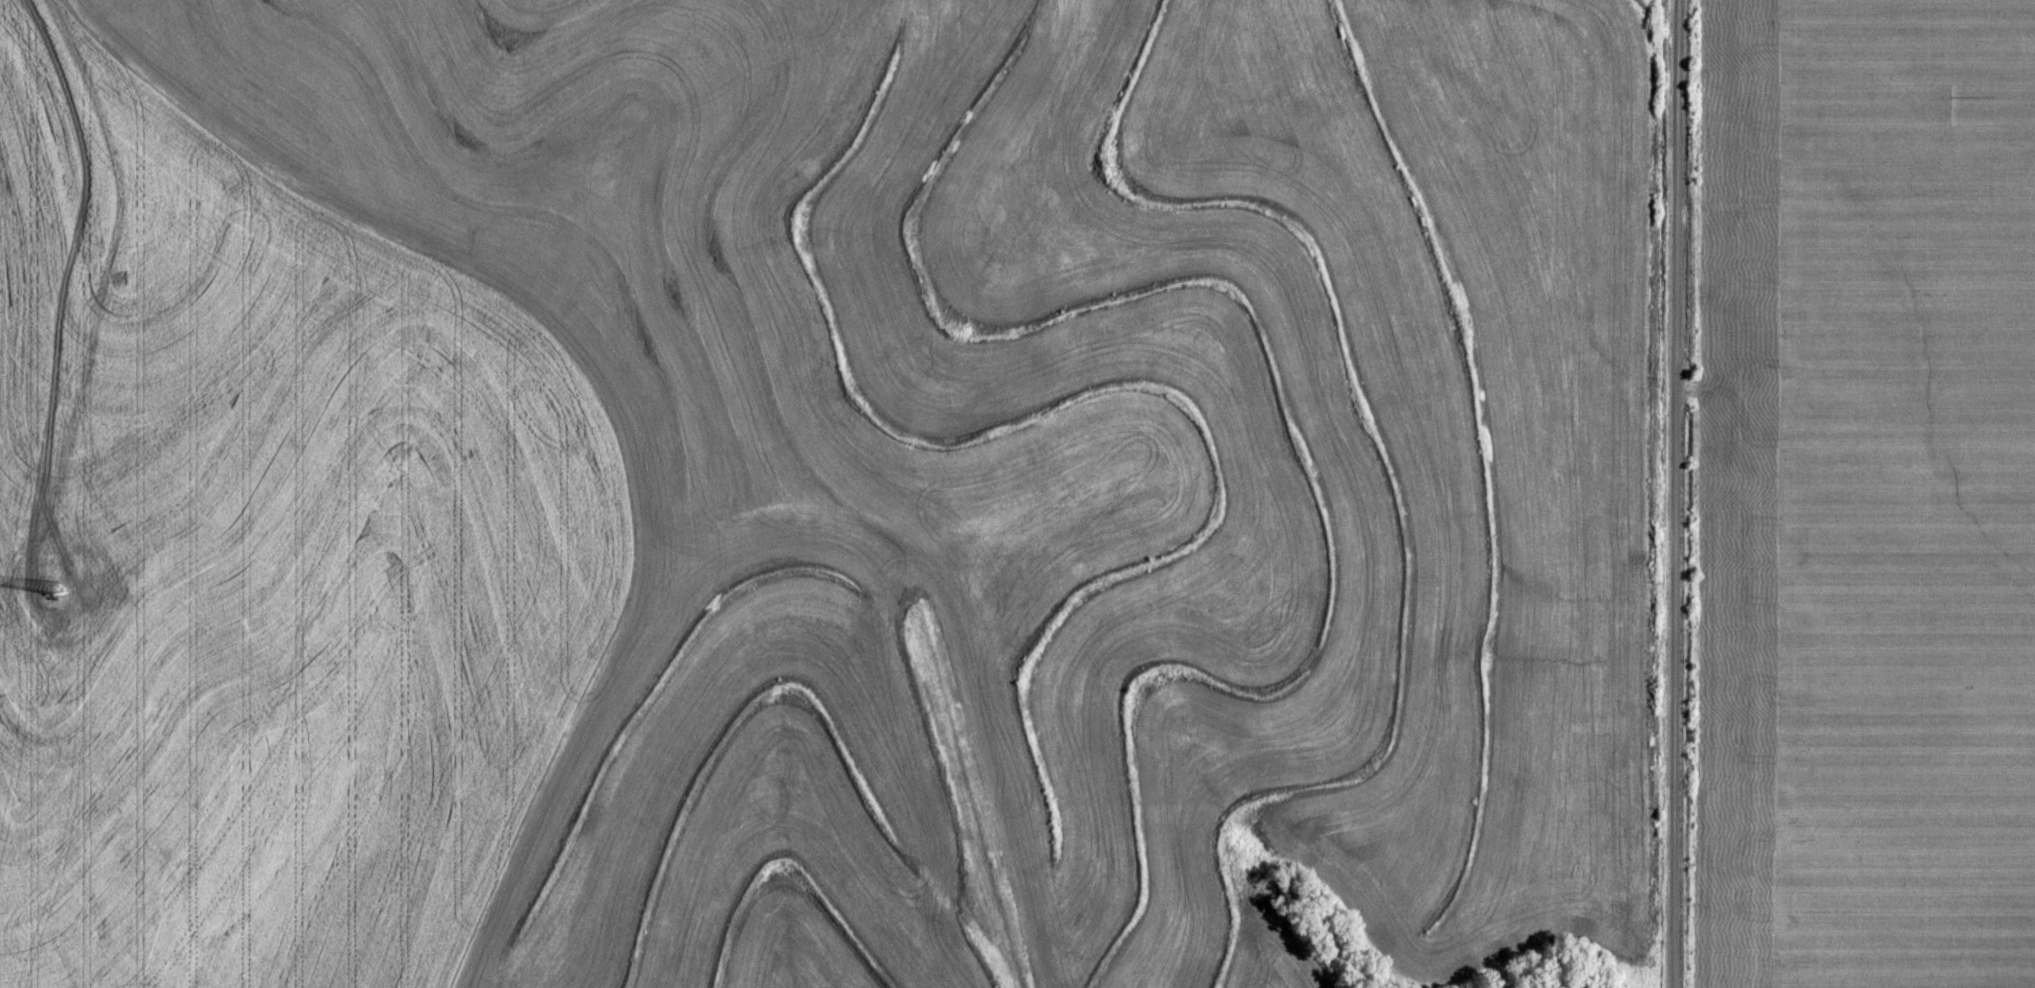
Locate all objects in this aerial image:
road: (1672, 494)

